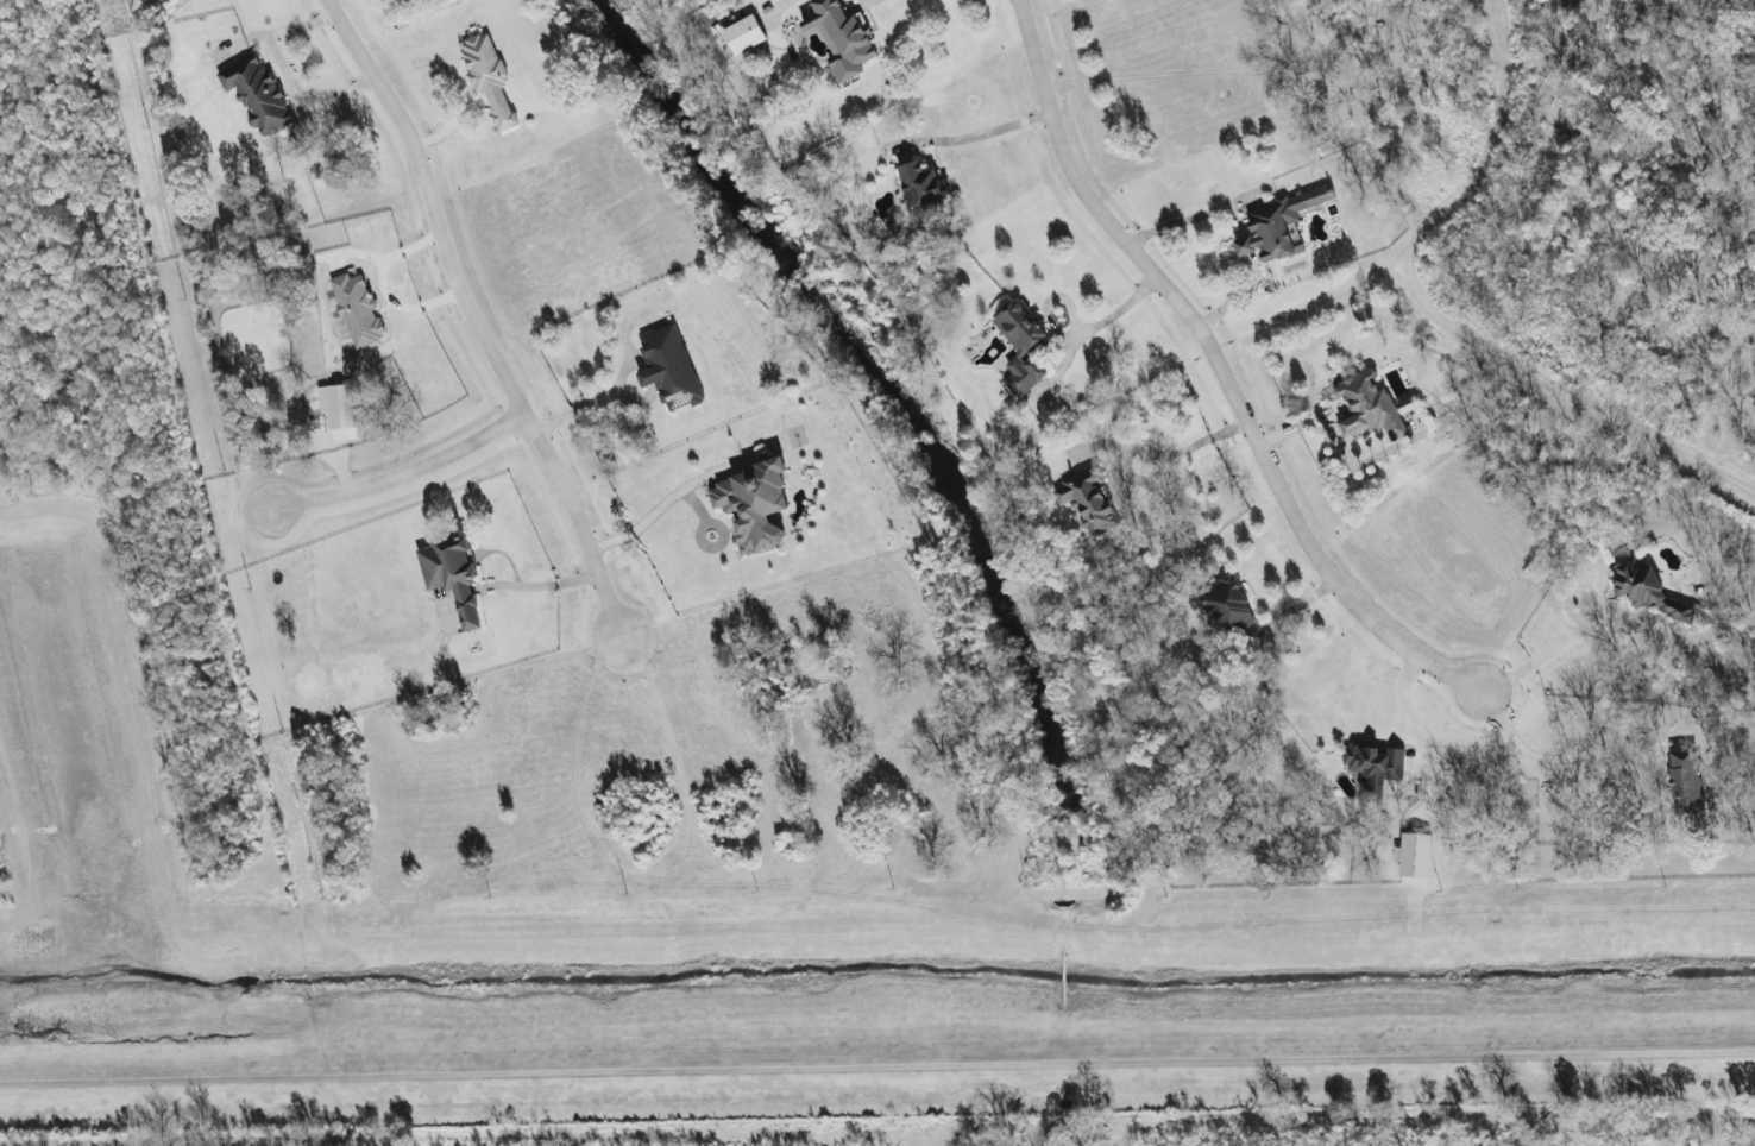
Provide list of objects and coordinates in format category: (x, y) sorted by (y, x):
road: (866, 2)
building: (743, 34)
building: (842, 38)
road: (287, 71)
building: (487, 78)
building: (256, 95)
road: (980, 128)
building: (920, 184)
road: (1191, 216)
building: (1279, 226)
road: (1243, 246)
road: (1233, 296)
building: (356, 310)
road: (473, 319)
road: (1097, 319)
building: (1021, 348)
building: (668, 369)
road: (1220, 372)
road: (586, 404)
building: (1371, 407)
river: (910, 409)
road: (1199, 451)
road: (405, 481)
building: (1090, 500)
building: (753, 506)
road: (646, 523)
building: (452, 579)
building: (1640, 586)
building: (1681, 611)
road: (1585, 626)
road: (1398, 710)
road: (1559, 756)
building: (1375, 768)
building: (1687, 782)
building: (1416, 857)
river: (1081, 996)
road: (379, 1115)
river: (1068, 1125)

